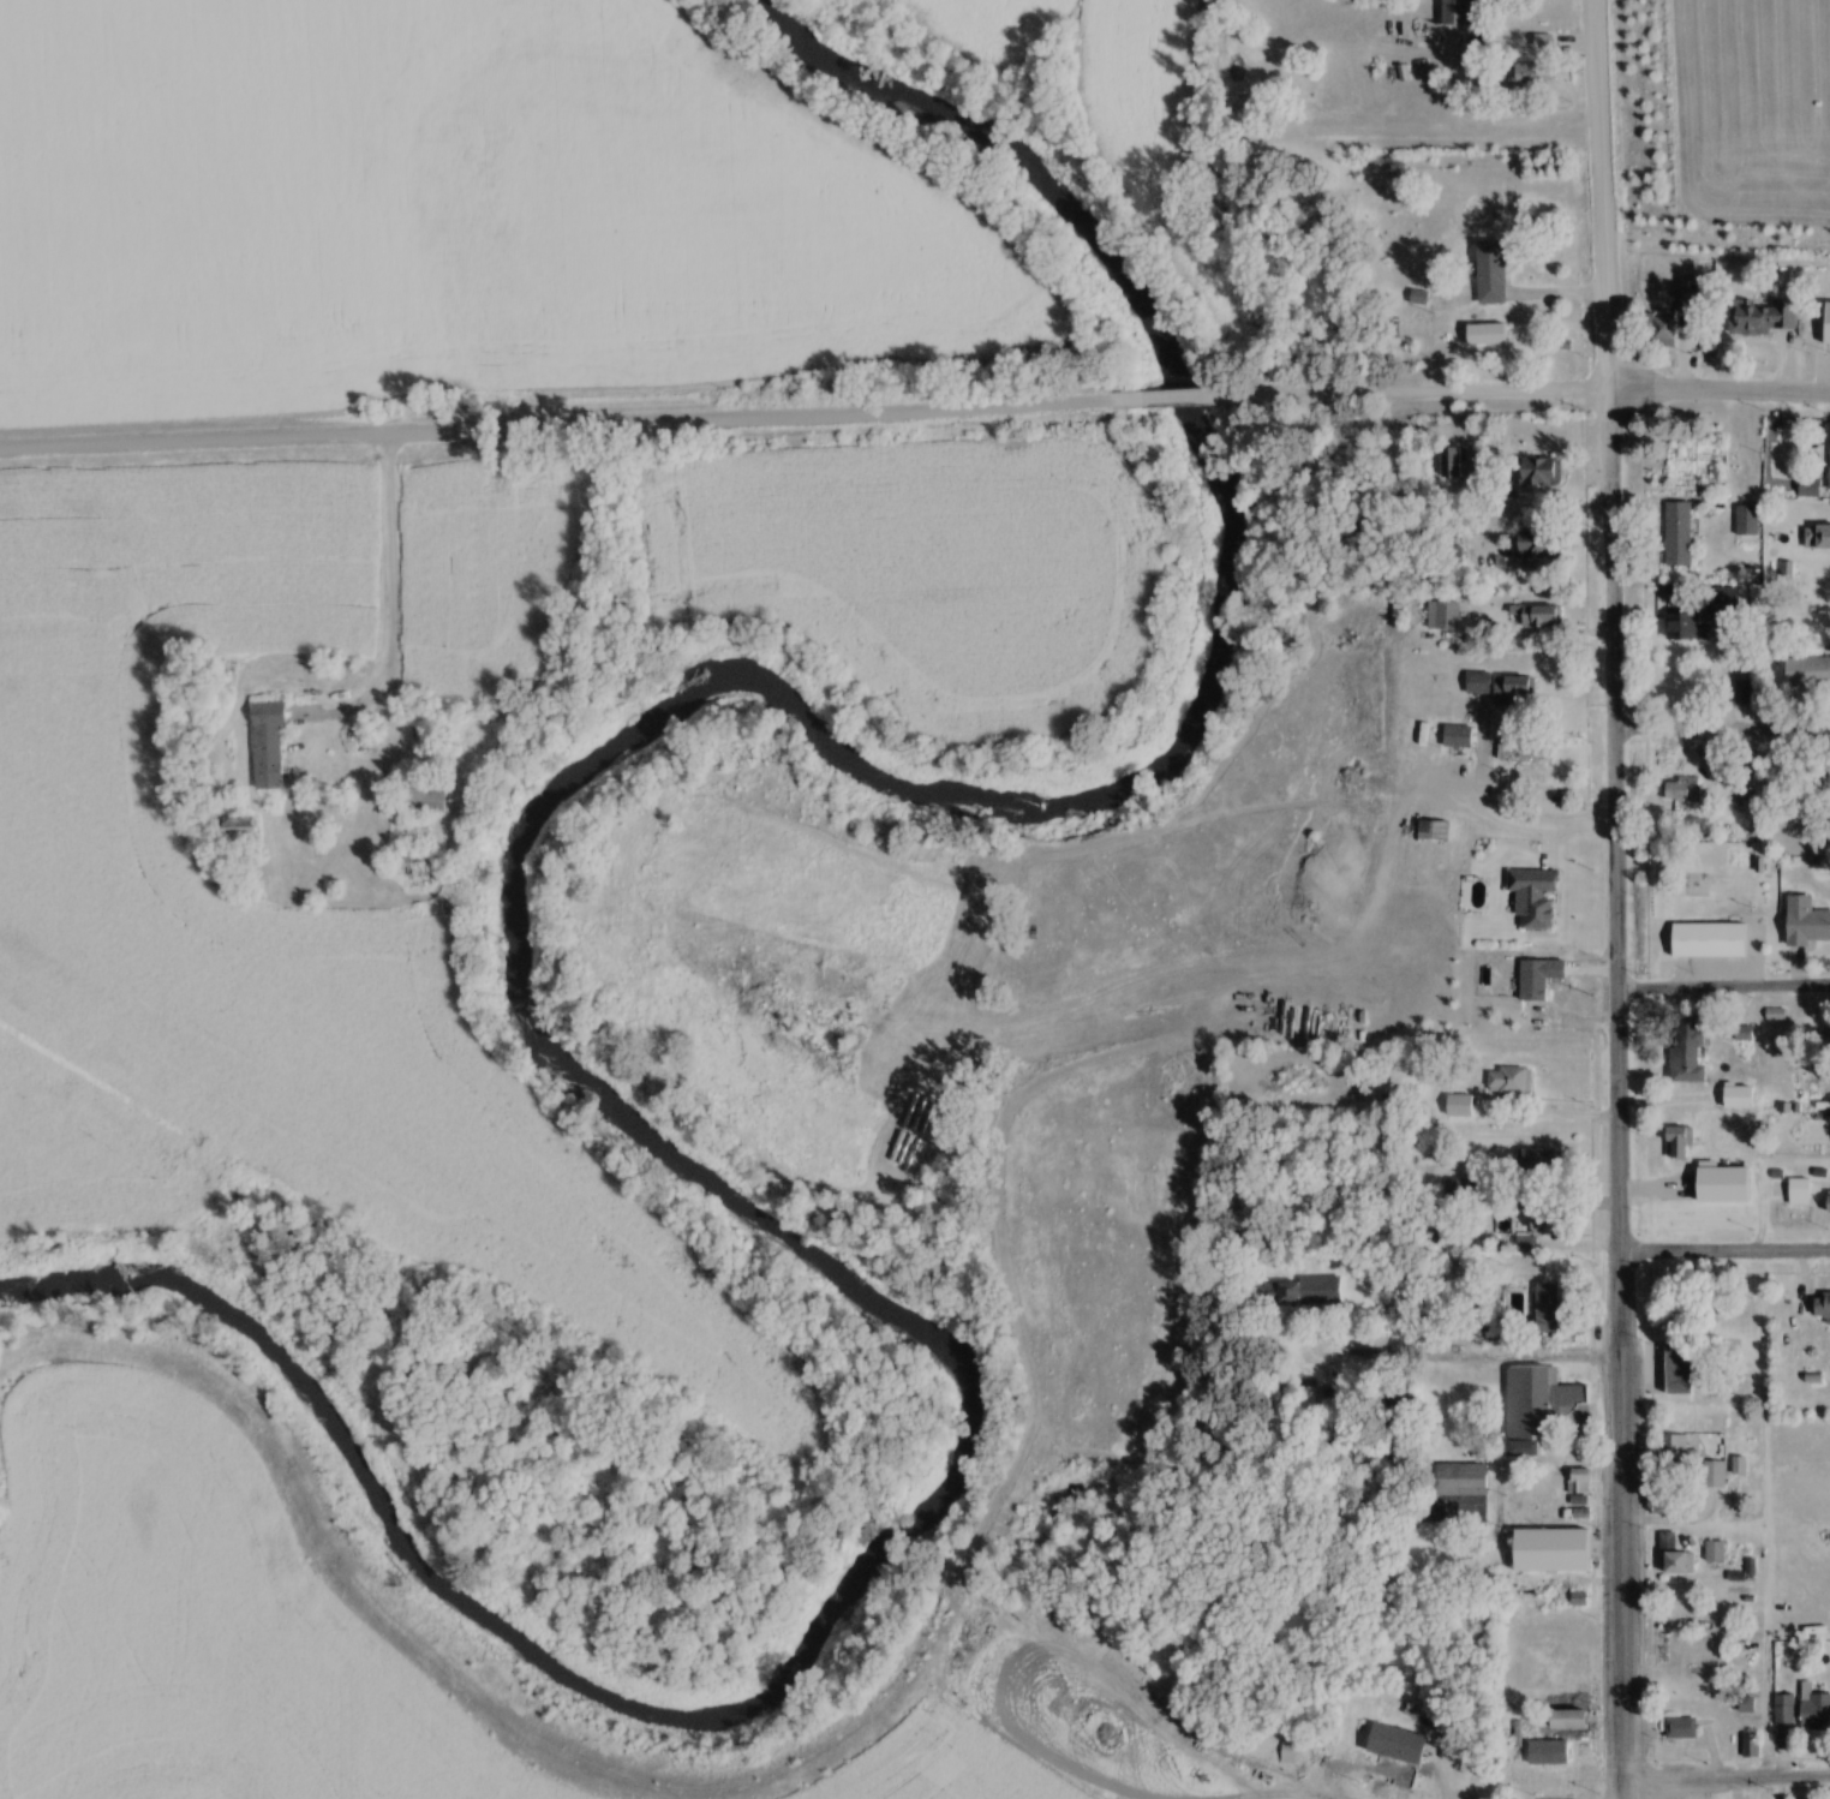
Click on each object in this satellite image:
building: (1463, 12)
building: (1533, 76)
road: (1602, 197)
building: (1494, 273)
building: (1764, 319)
building: (1829, 328)
building: (1662, 330)
road: (1180, 394)
road: (1530, 396)
road: (566, 424)
building: (1464, 465)
building: (1543, 474)
building: (1811, 489)
building: (1748, 522)
building: (1680, 536)
building: (1538, 544)
road: (388, 572)
building: (1818, 586)
building: (1723, 599)
building: (1675, 605)
building: (1445, 617)
building: (1539, 617)
building: (1687, 627)
road: (1482, 670)
building: (1808, 673)
building: (1518, 693)
road: (1722, 729)
building: (1459, 739)
building: (270, 747)
building: (1527, 758)
building: (1684, 791)
building: (426, 801)
road: (361, 820)
building: (1436, 832)
building: (1807, 925)
building: (1711, 942)
building: (1541, 979)
road: (1722, 994)
river: (525, 1011)
building: (1828, 1035)
building: (1690, 1053)
building: (1512, 1082)
road: (1615, 1098)
road: (1541, 1118)
building: (1680, 1148)
building: (1544, 1163)
building: (1460, 1189)
building: (1801, 1193)
building: (1829, 1202)
road: (1539, 1209)
building: (1545, 1223)
road: (1723, 1255)
building: (1311, 1293)
building: (1823, 1307)
building: (1549, 1309)
road: (1461, 1359)
building: (1682, 1369)
building: (1311, 1400)
building: (1538, 1409)
building: (1686, 1454)
building: (1716, 1476)
building: (1458, 1482)
building: (1581, 1483)
building: (1553, 1553)
building: (1717, 1554)
building: (1680, 1566)
building: (1804, 1710)
building: (1571, 1723)
building: (1682, 1728)
building: (1399, 1746)
building: (1756, 1746)
building: (1550, 1755)
road: (1727, 1776)

